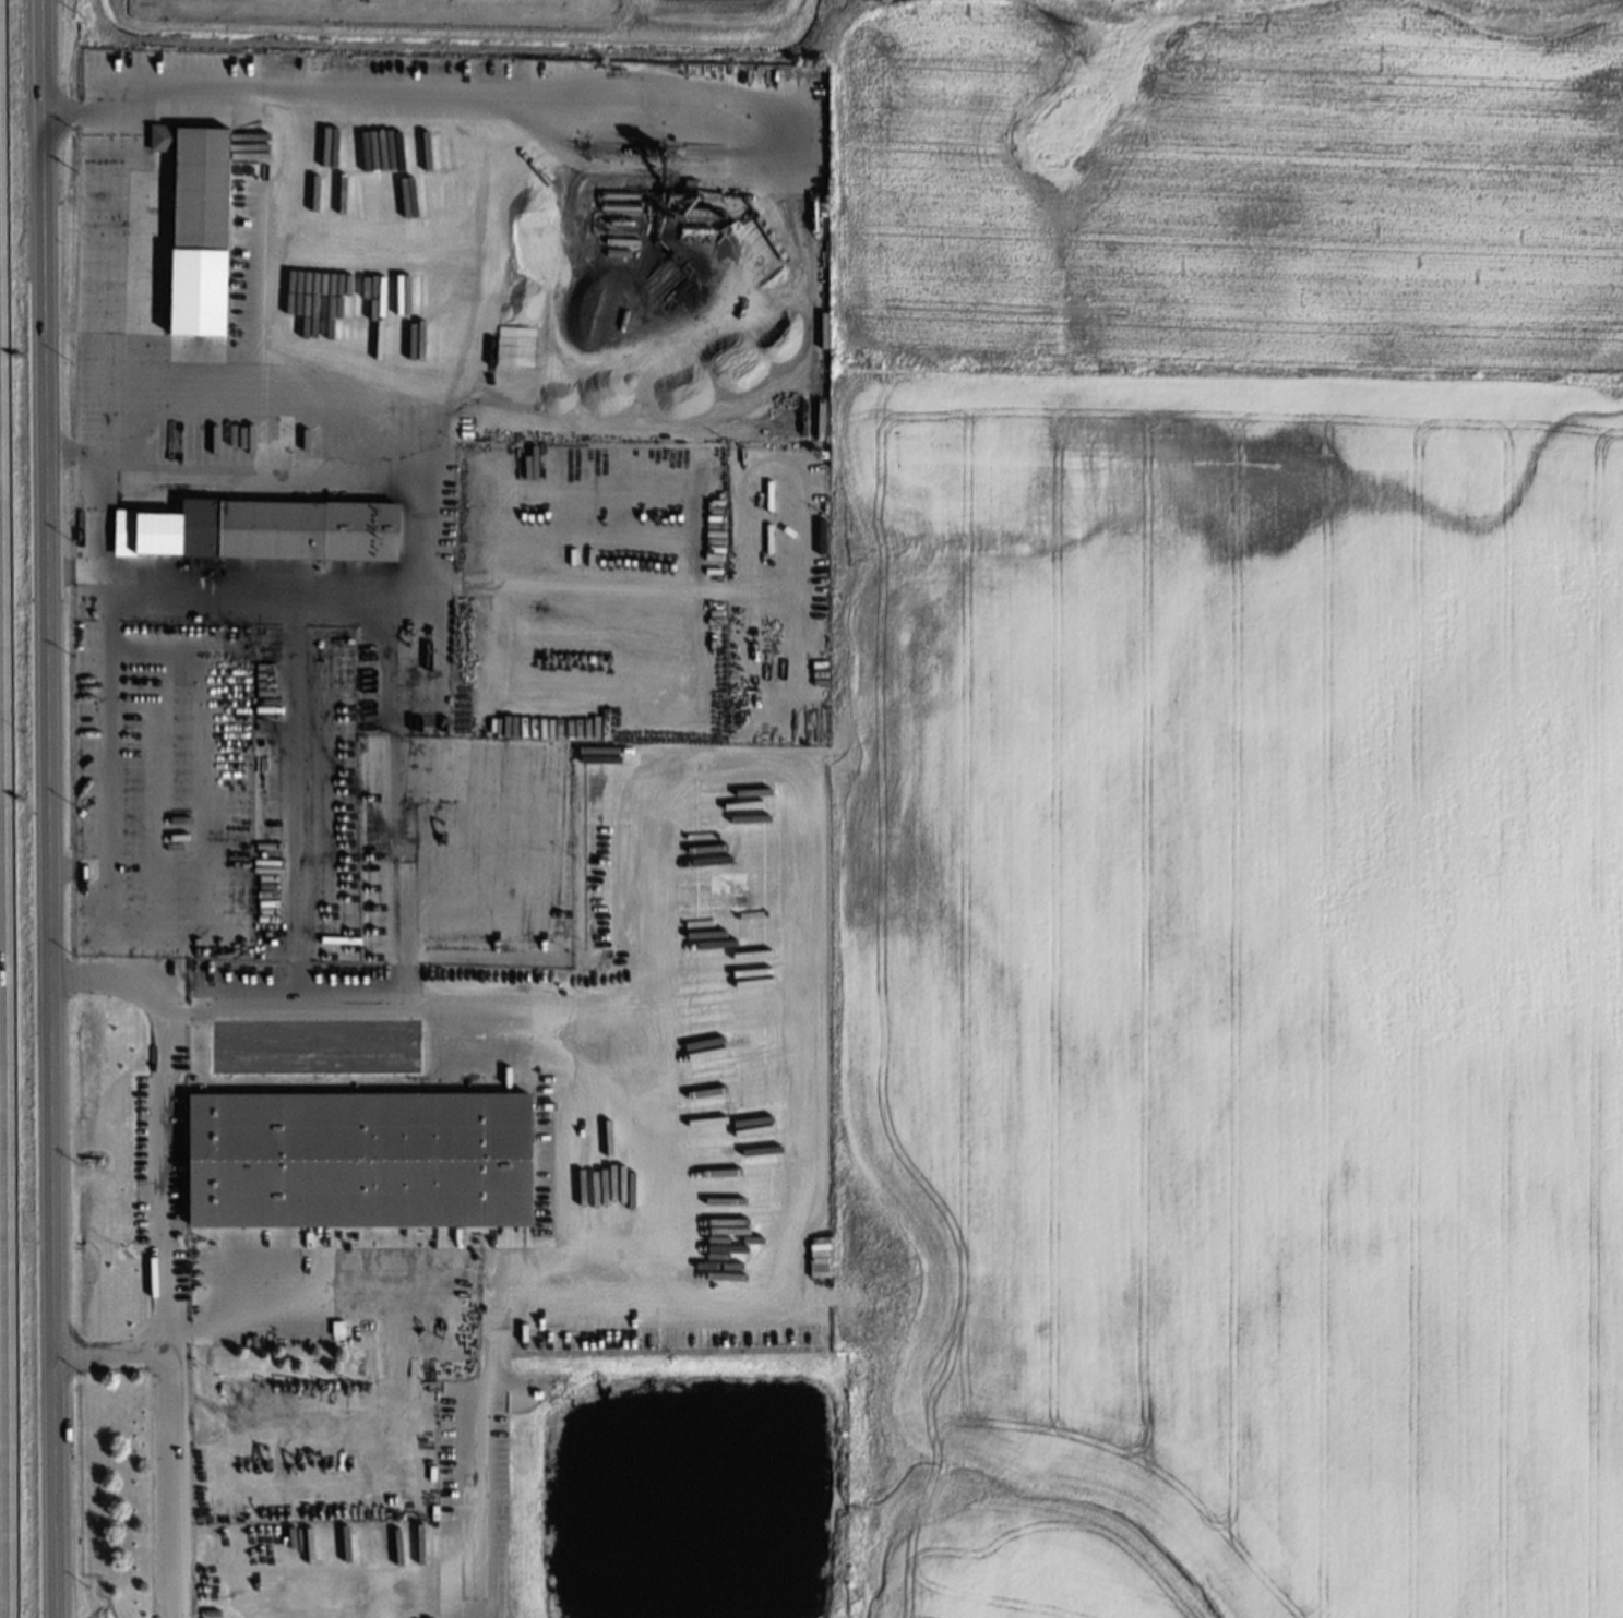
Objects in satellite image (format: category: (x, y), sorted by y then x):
road: (397, 104)
building: (196, 232)
road: (105, 341)
road: (270, 391)
building: (263, 532)
road: (416, 575)
road: (118, 584)
road: (47, 808)
road: (298, 812)
road: (393, 813)
road: (802, 867)
road: (160, 910)
road: (179, 1014)
parking lot: (160, 1159)
building: (356, 1162)
road: (169, 1166)
road: (25, 1232)
road: (599, 1238)
road: (166, 1479)

